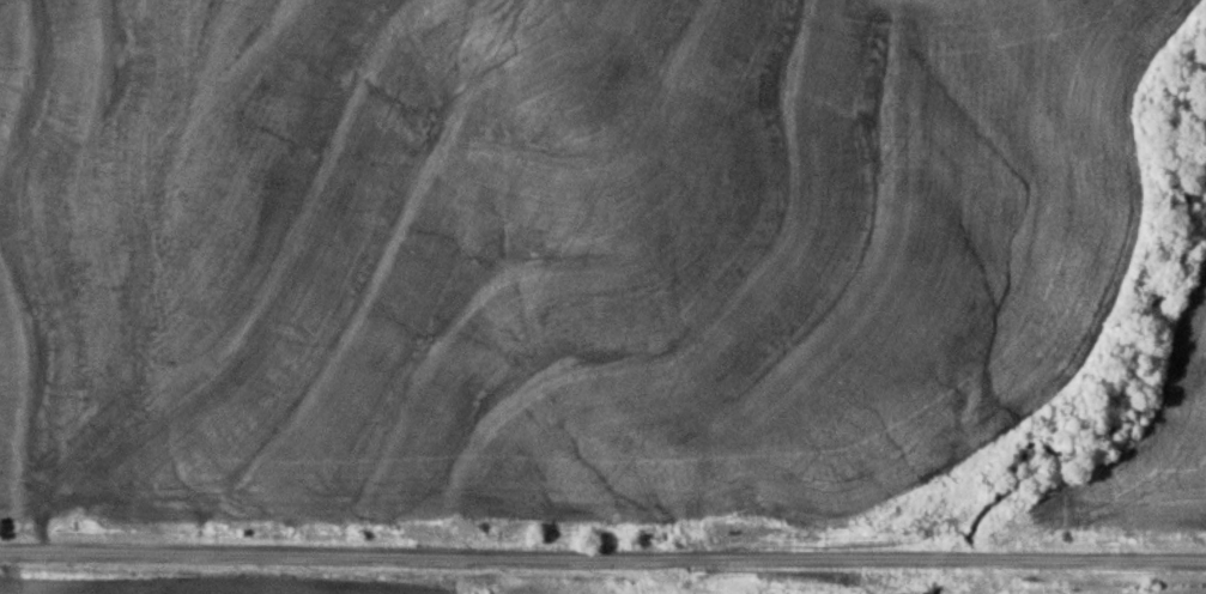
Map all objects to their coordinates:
road: (602, 552)

